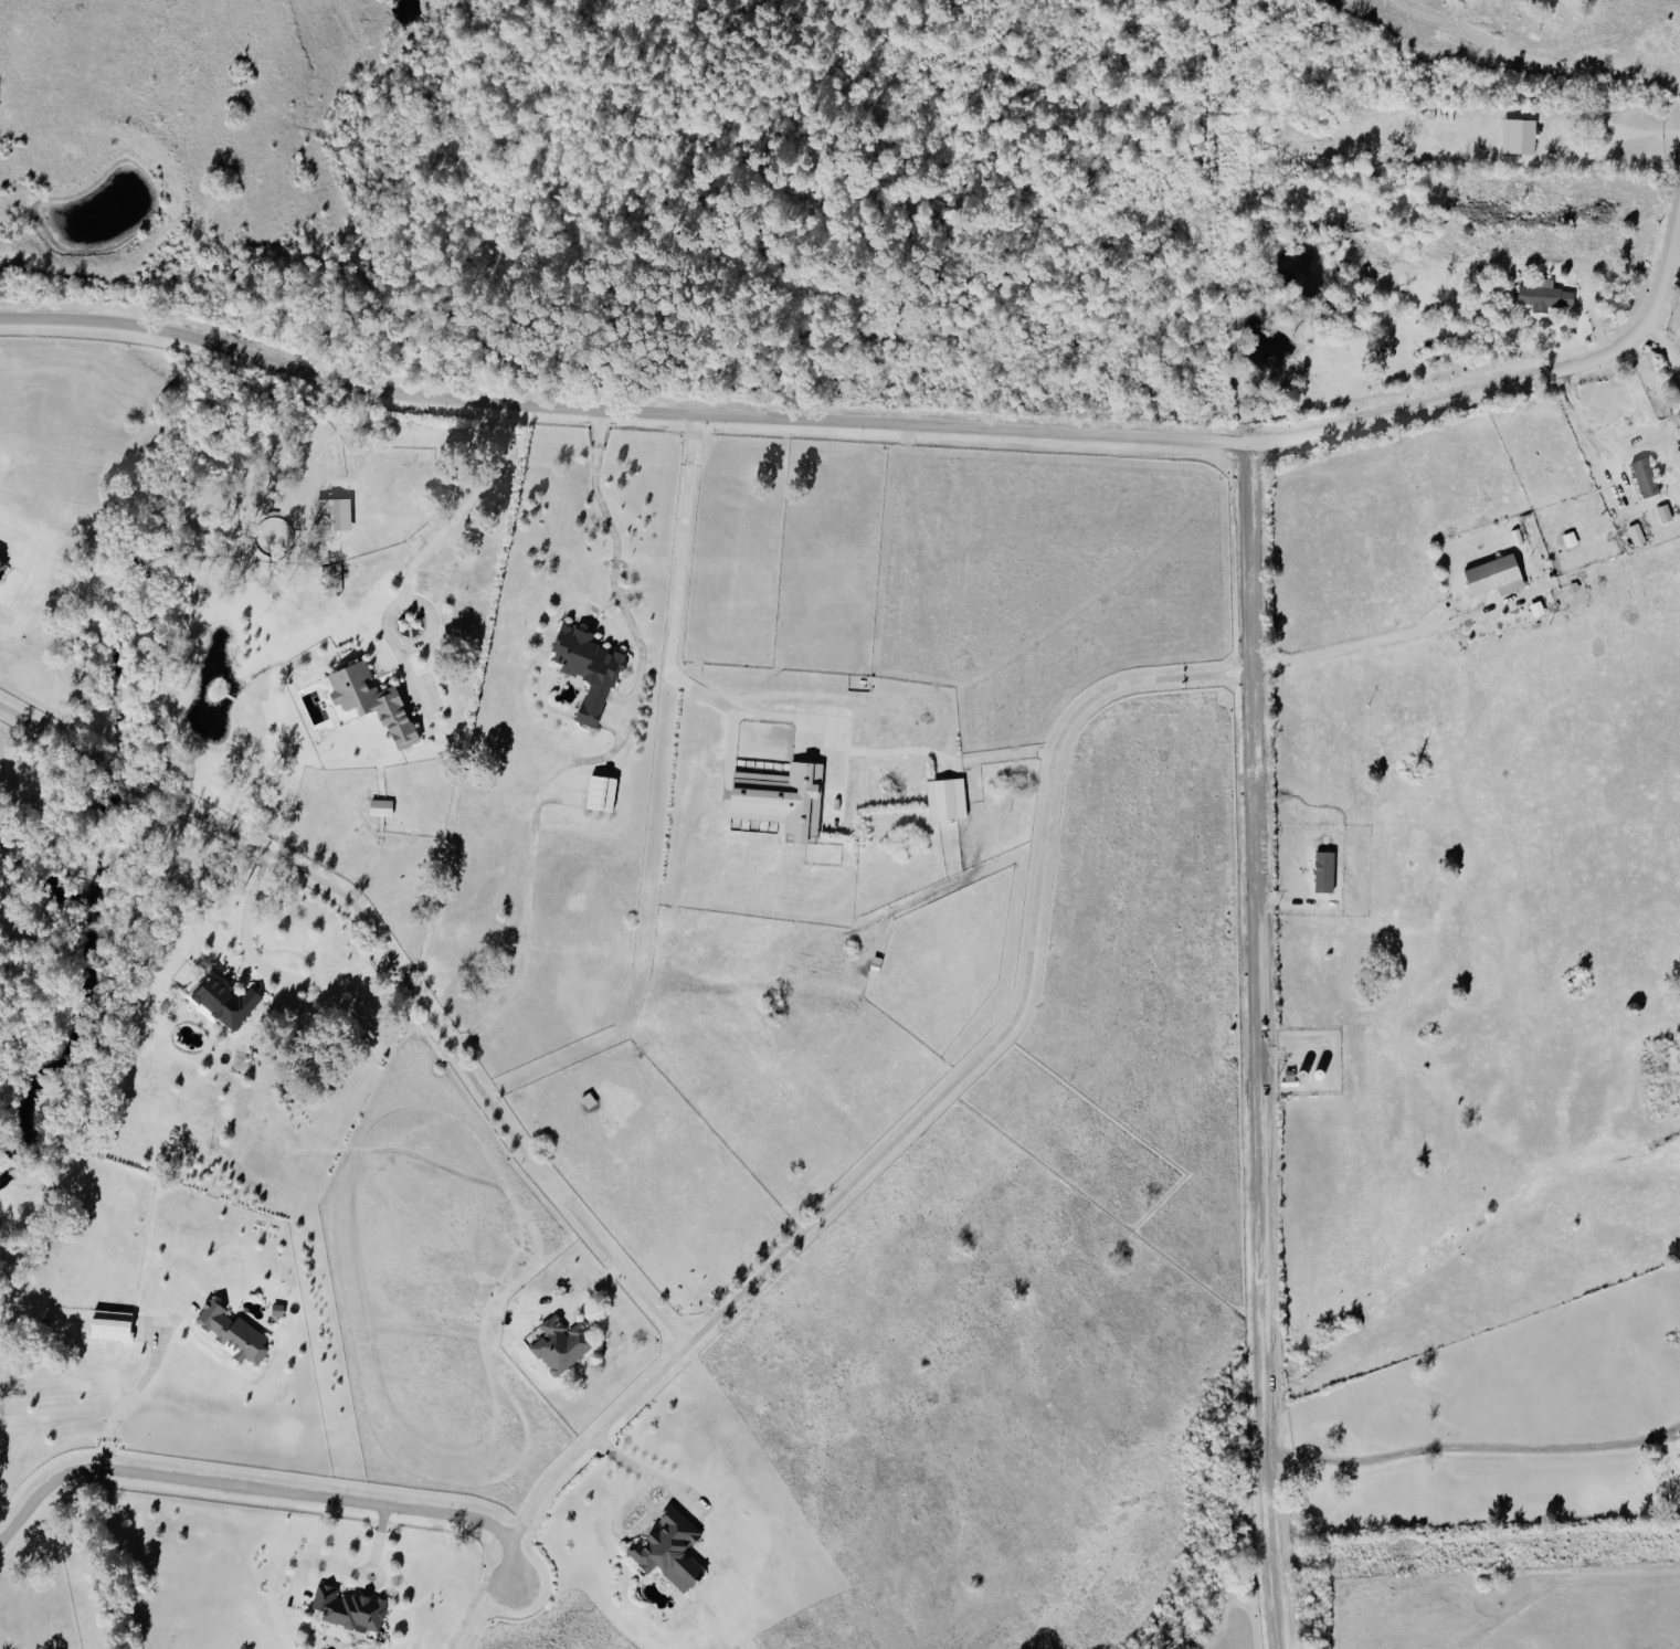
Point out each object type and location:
road: (1650, 130)
road: (1559, 133)
building: (1521, 136)
building: (1546, 295)
road: (1665, 339)
road: (906, 429)
road: (1586, 431)
building: (1648, 476)
building: (1667, 512)
building: (335, 514)
building: (1638, 533)
building: (3, 567)
road: (421, 569)
building: (1498, 575)
road: (1376, 639)
building: (590, 669)
building: (376, 701)
road: (738, 710)
road: (602, 757)
building: (603, 792)
building: (783, 797)
building: (948, 799)
building: (383, 807)
road: (457, 817)
road: (394, 964)
road: (272, 974)
building: (228, 1000)
road: (1258, 1047)
road: (932, 1101)
building: (114, 1325)
building: (234, 1333)
building: (563, 1344)
road: (140, 1384)
road: (1470, 1452)
road: (264, 1488)
road: (651, 1509)
building: (673, 1551)
road: (483, 1599)
building: (350, 1609)

